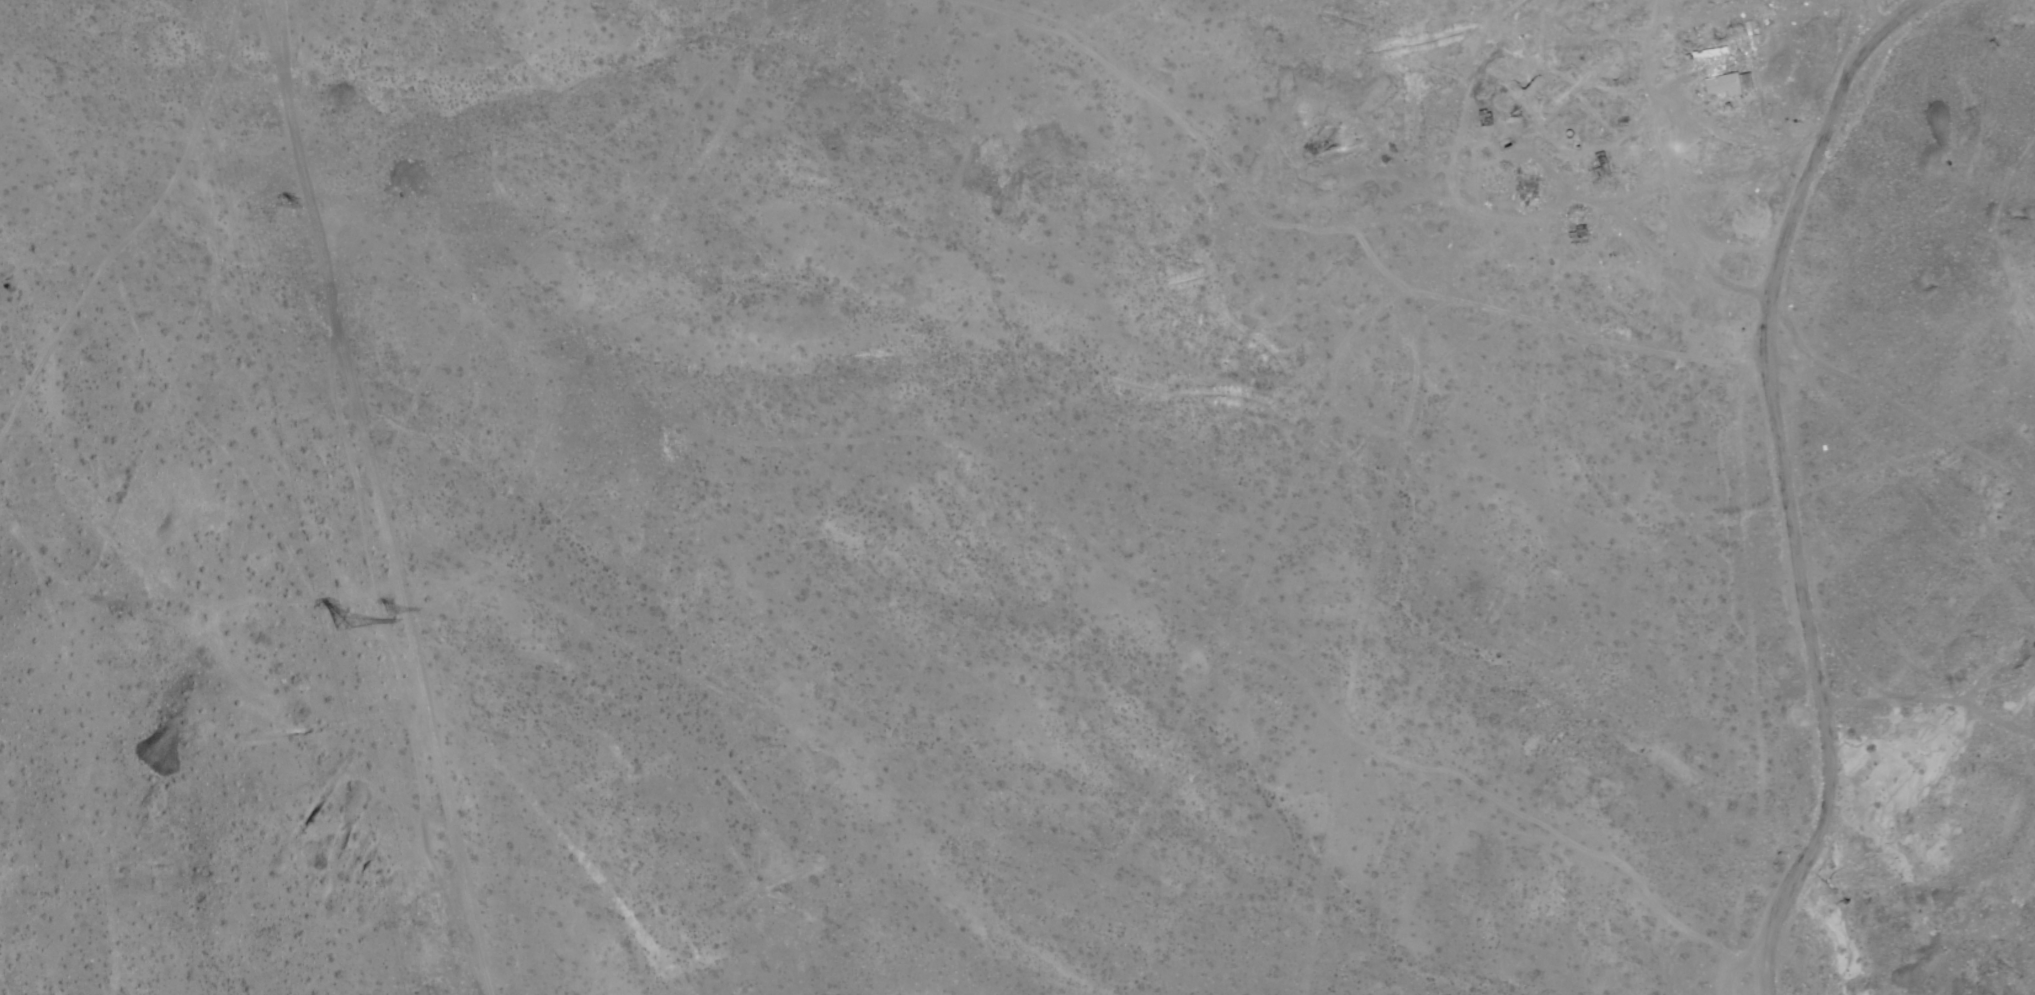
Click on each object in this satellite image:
road: (1874, 14)
road: (272, 48)
building: (1712, 73)
building: (1527, 188)
power tower: (301, 212)
road: (139, 226)
road: (1785, 480)
road: (378, 498)
crop: (1858, 510)
power tower: (392, 615)
power tower: (355, 626)

